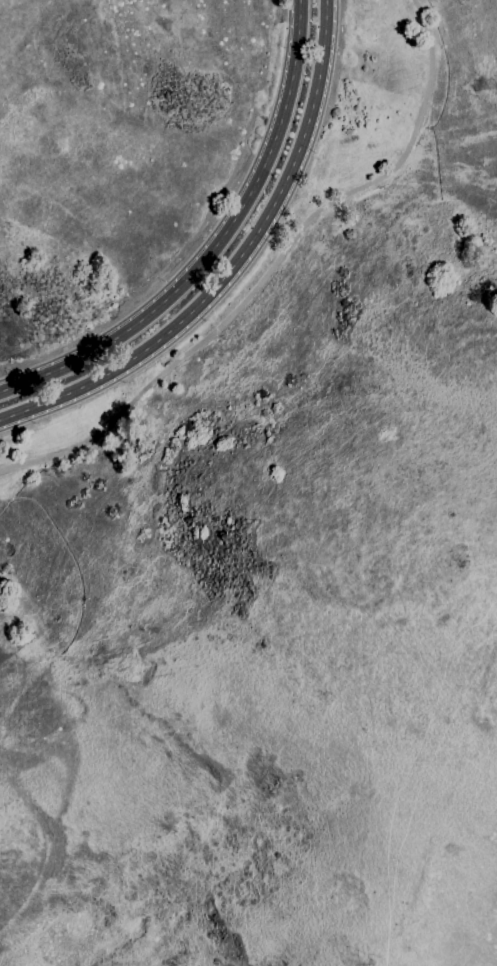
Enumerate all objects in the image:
road: (214, 245)
road: (233, 263)
road: (270, 269)

